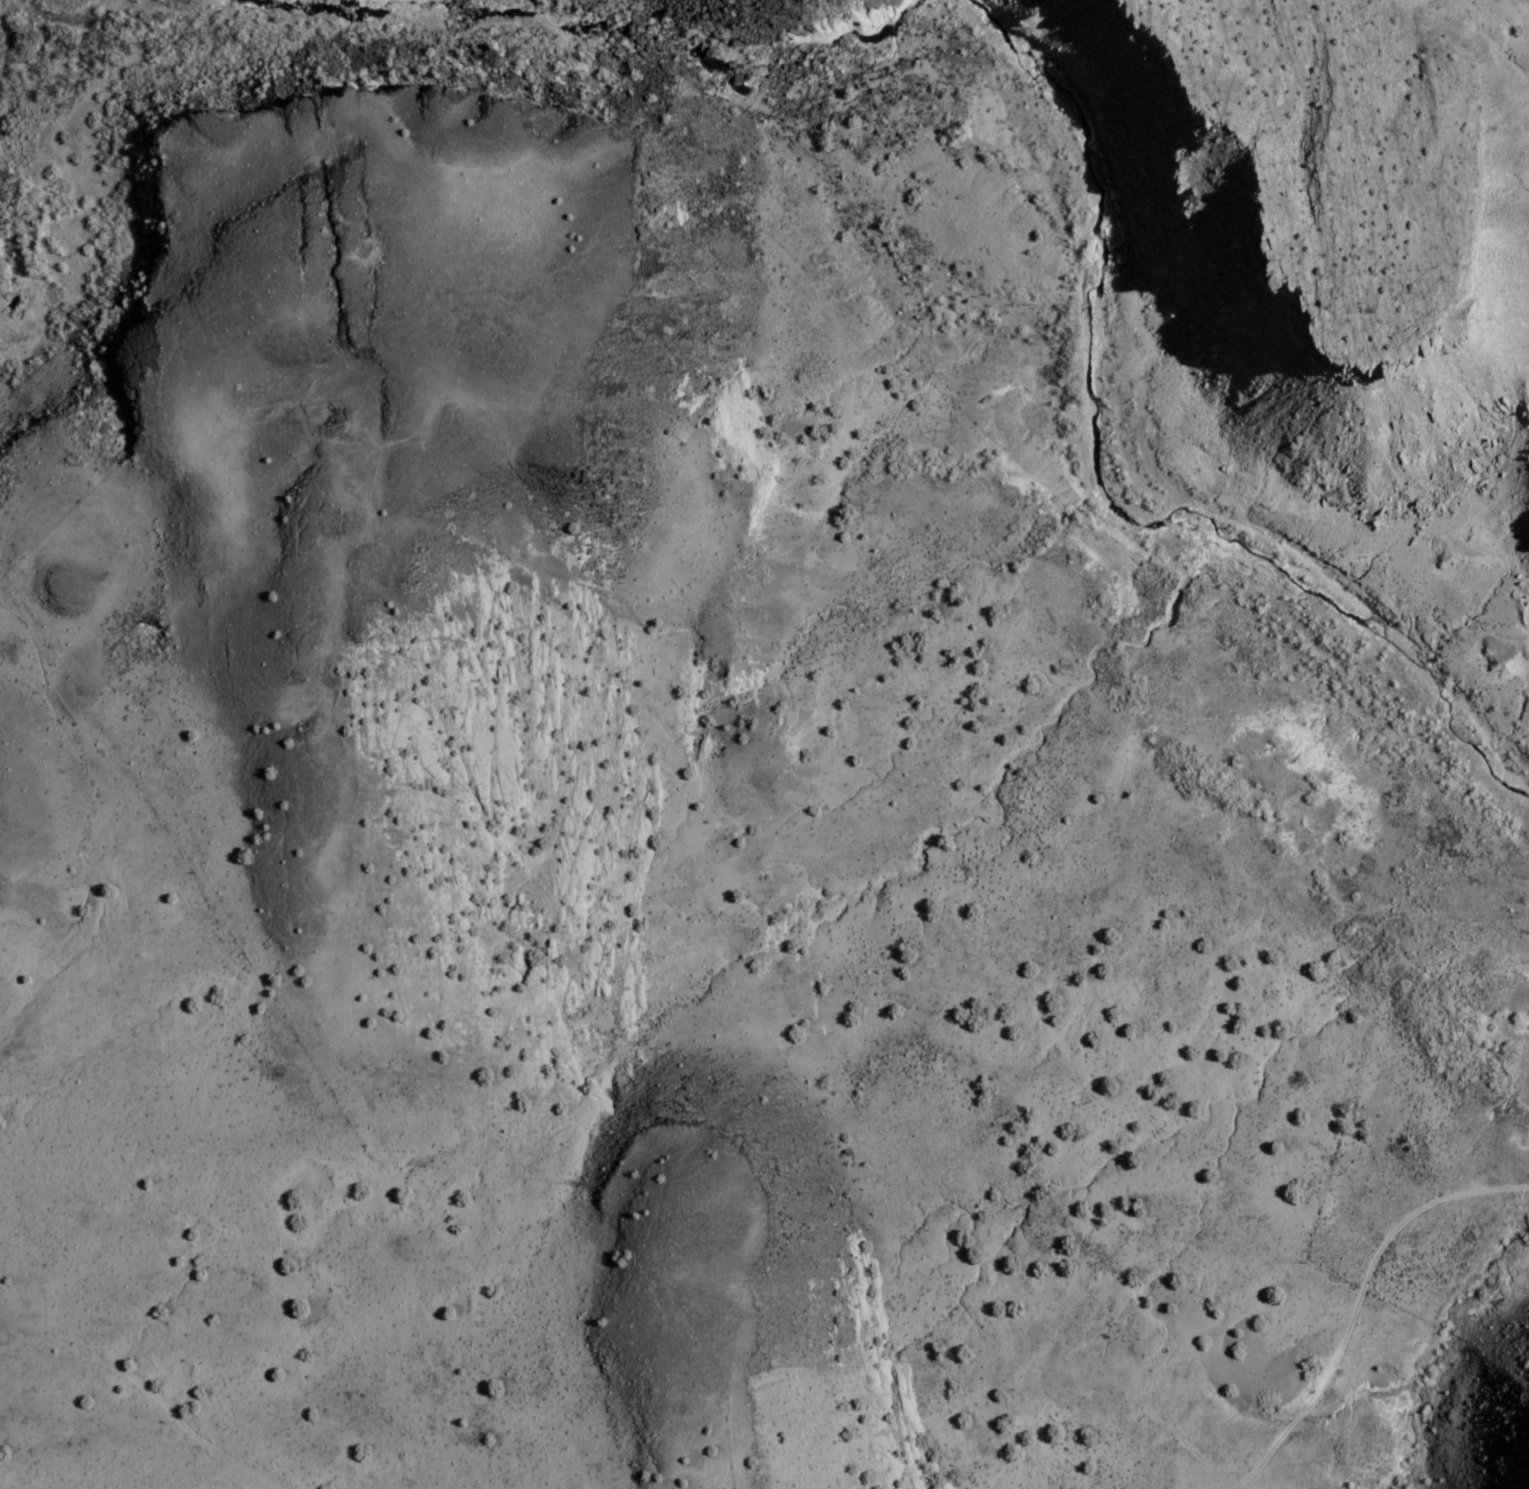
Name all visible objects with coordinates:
road: (1360, 1305)

